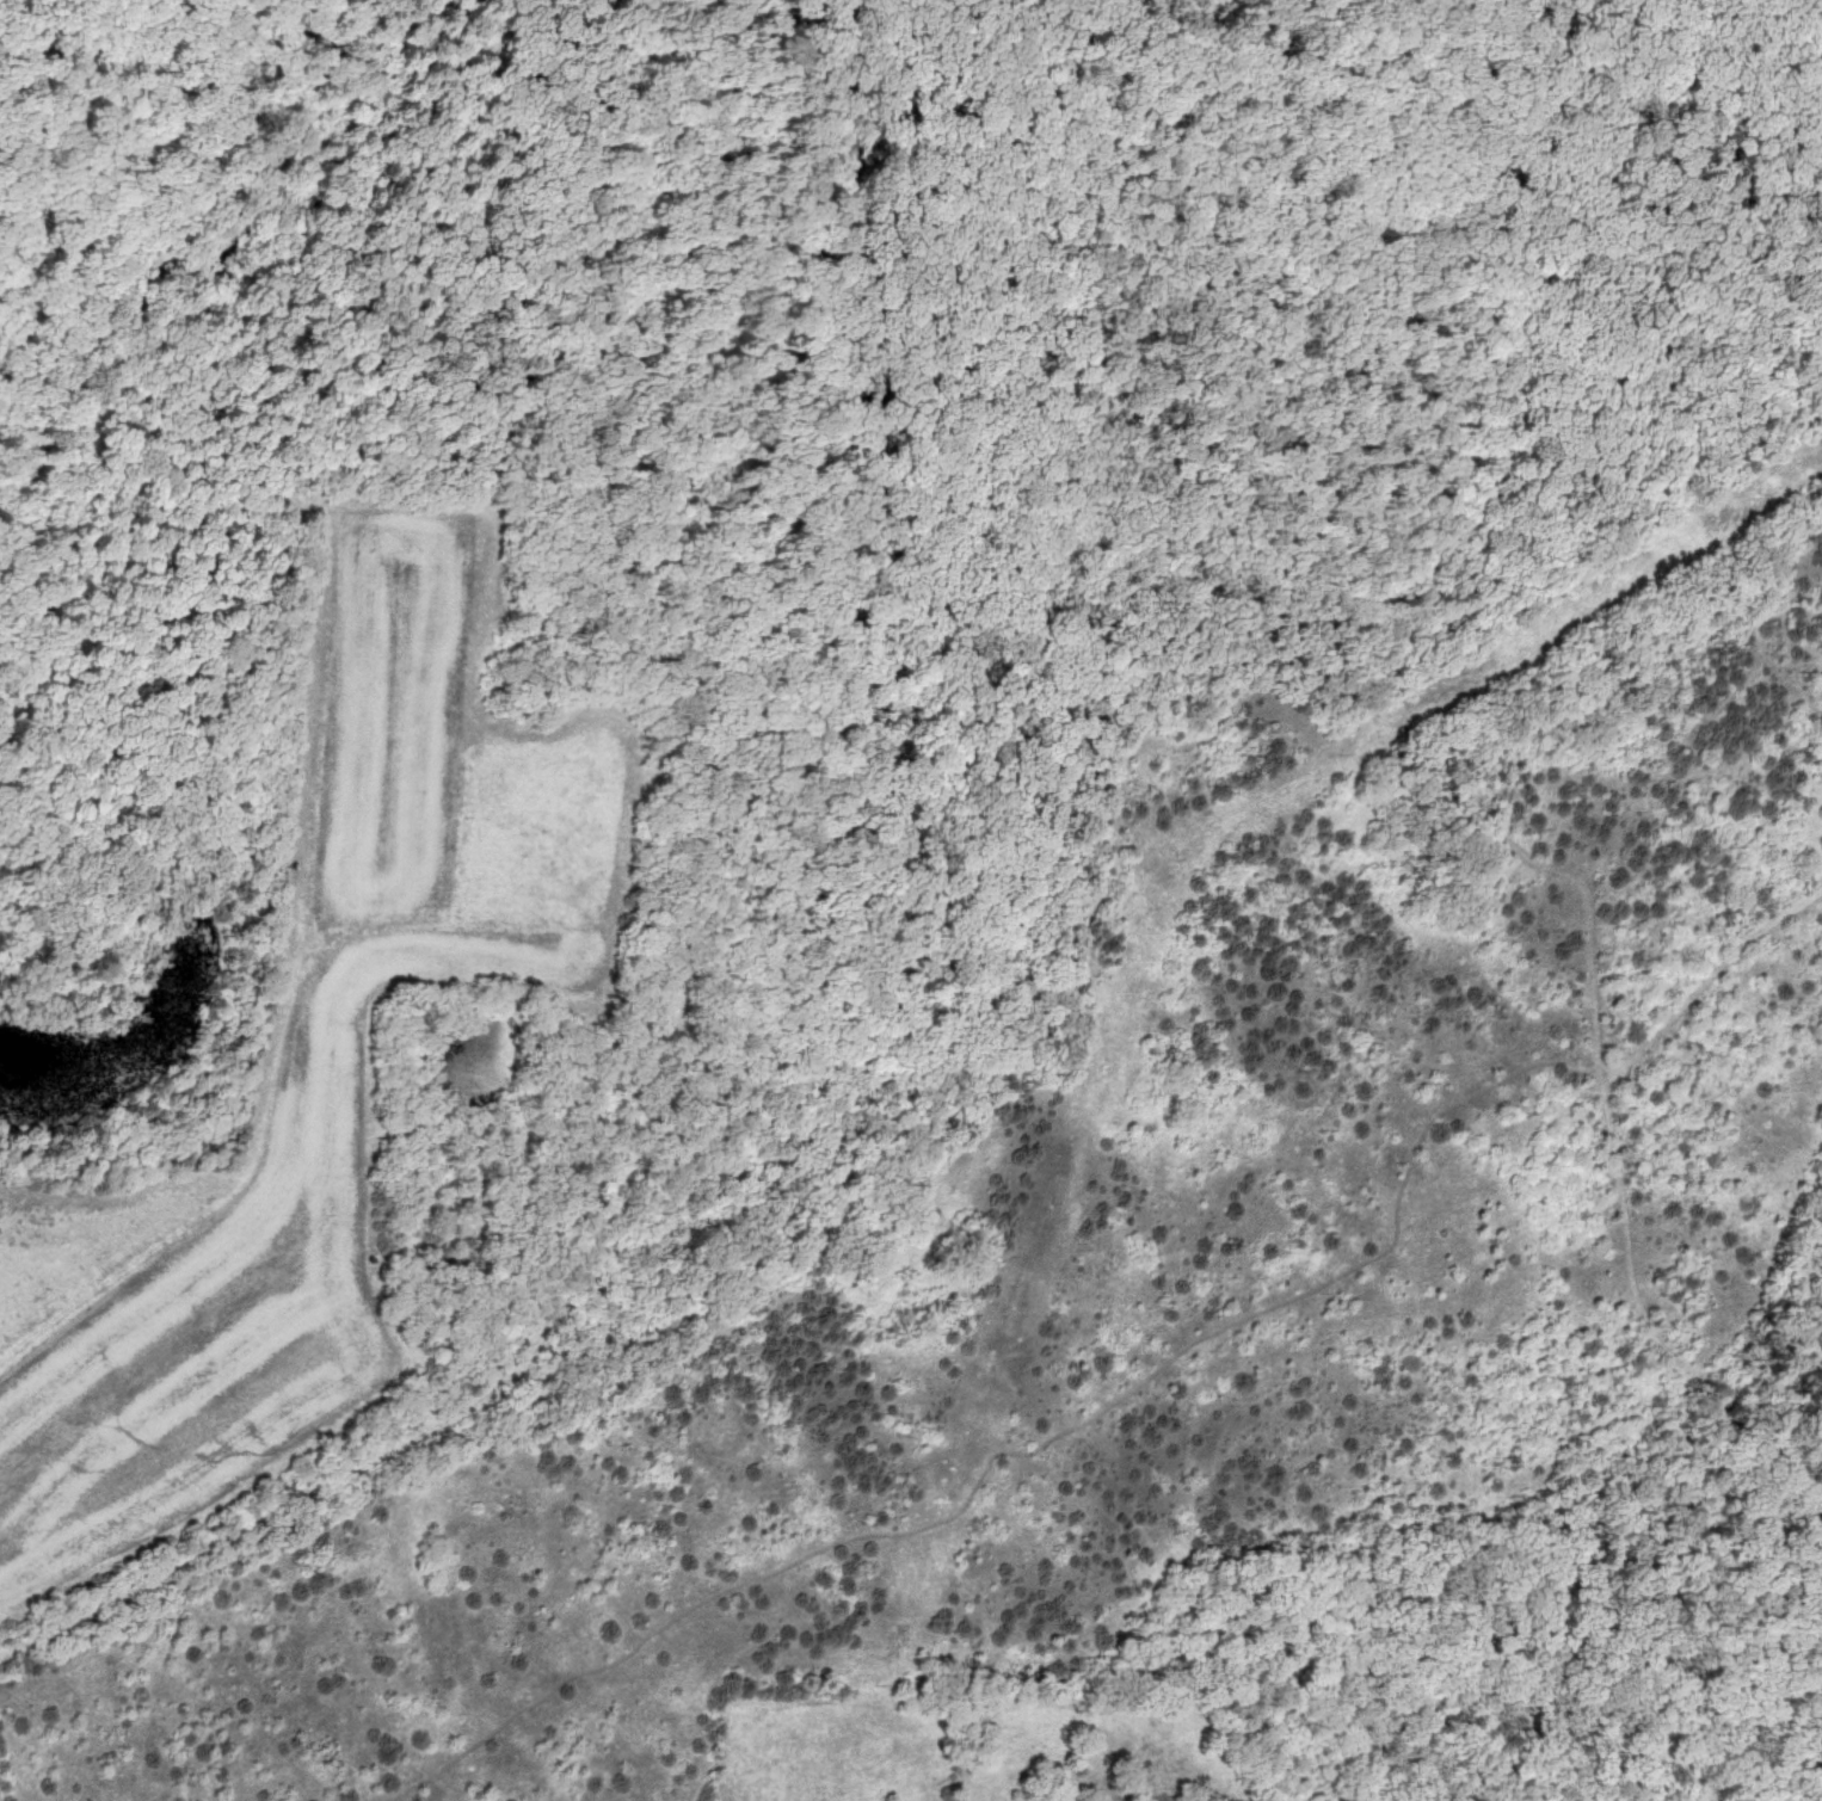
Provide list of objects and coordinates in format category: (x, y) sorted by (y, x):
road: (1058, 107)
road: (1260, 391)
road: (1451, 787)
park: (944, 833)

